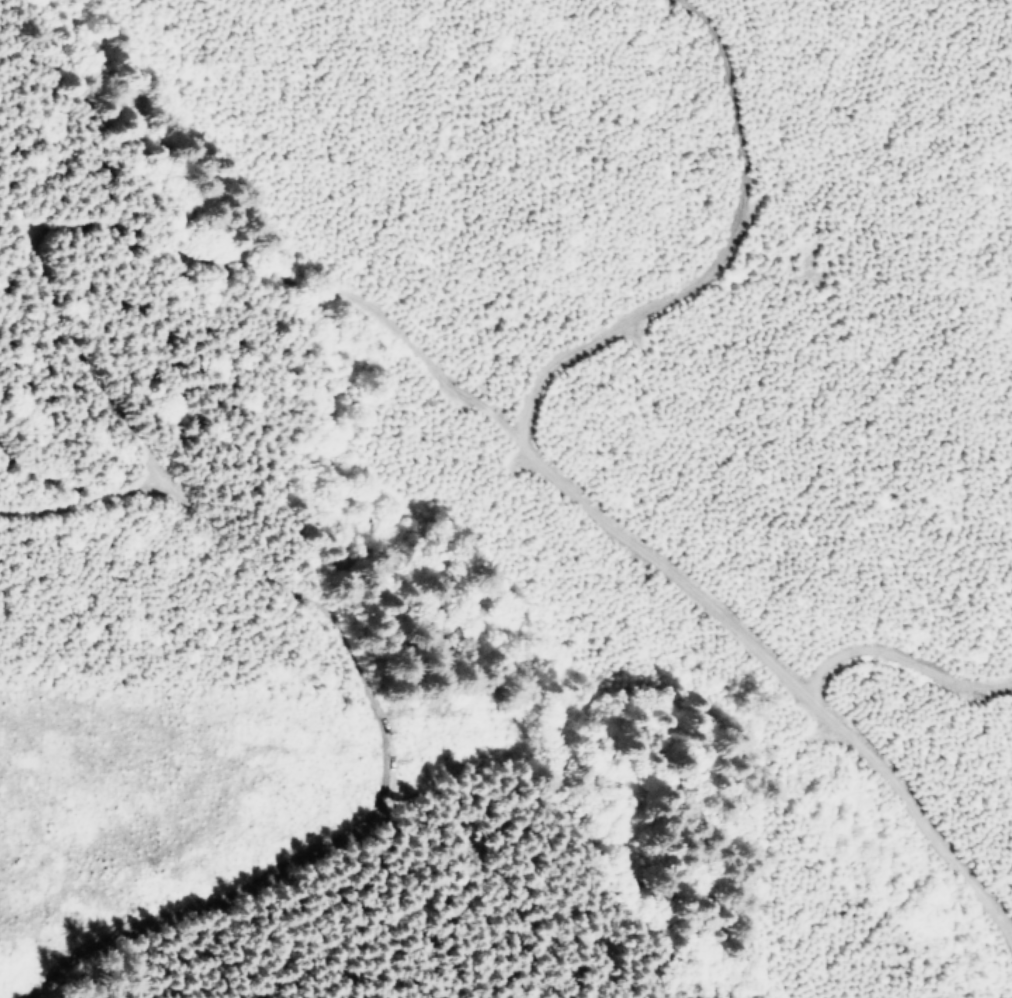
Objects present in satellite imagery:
road: (537, 556)

